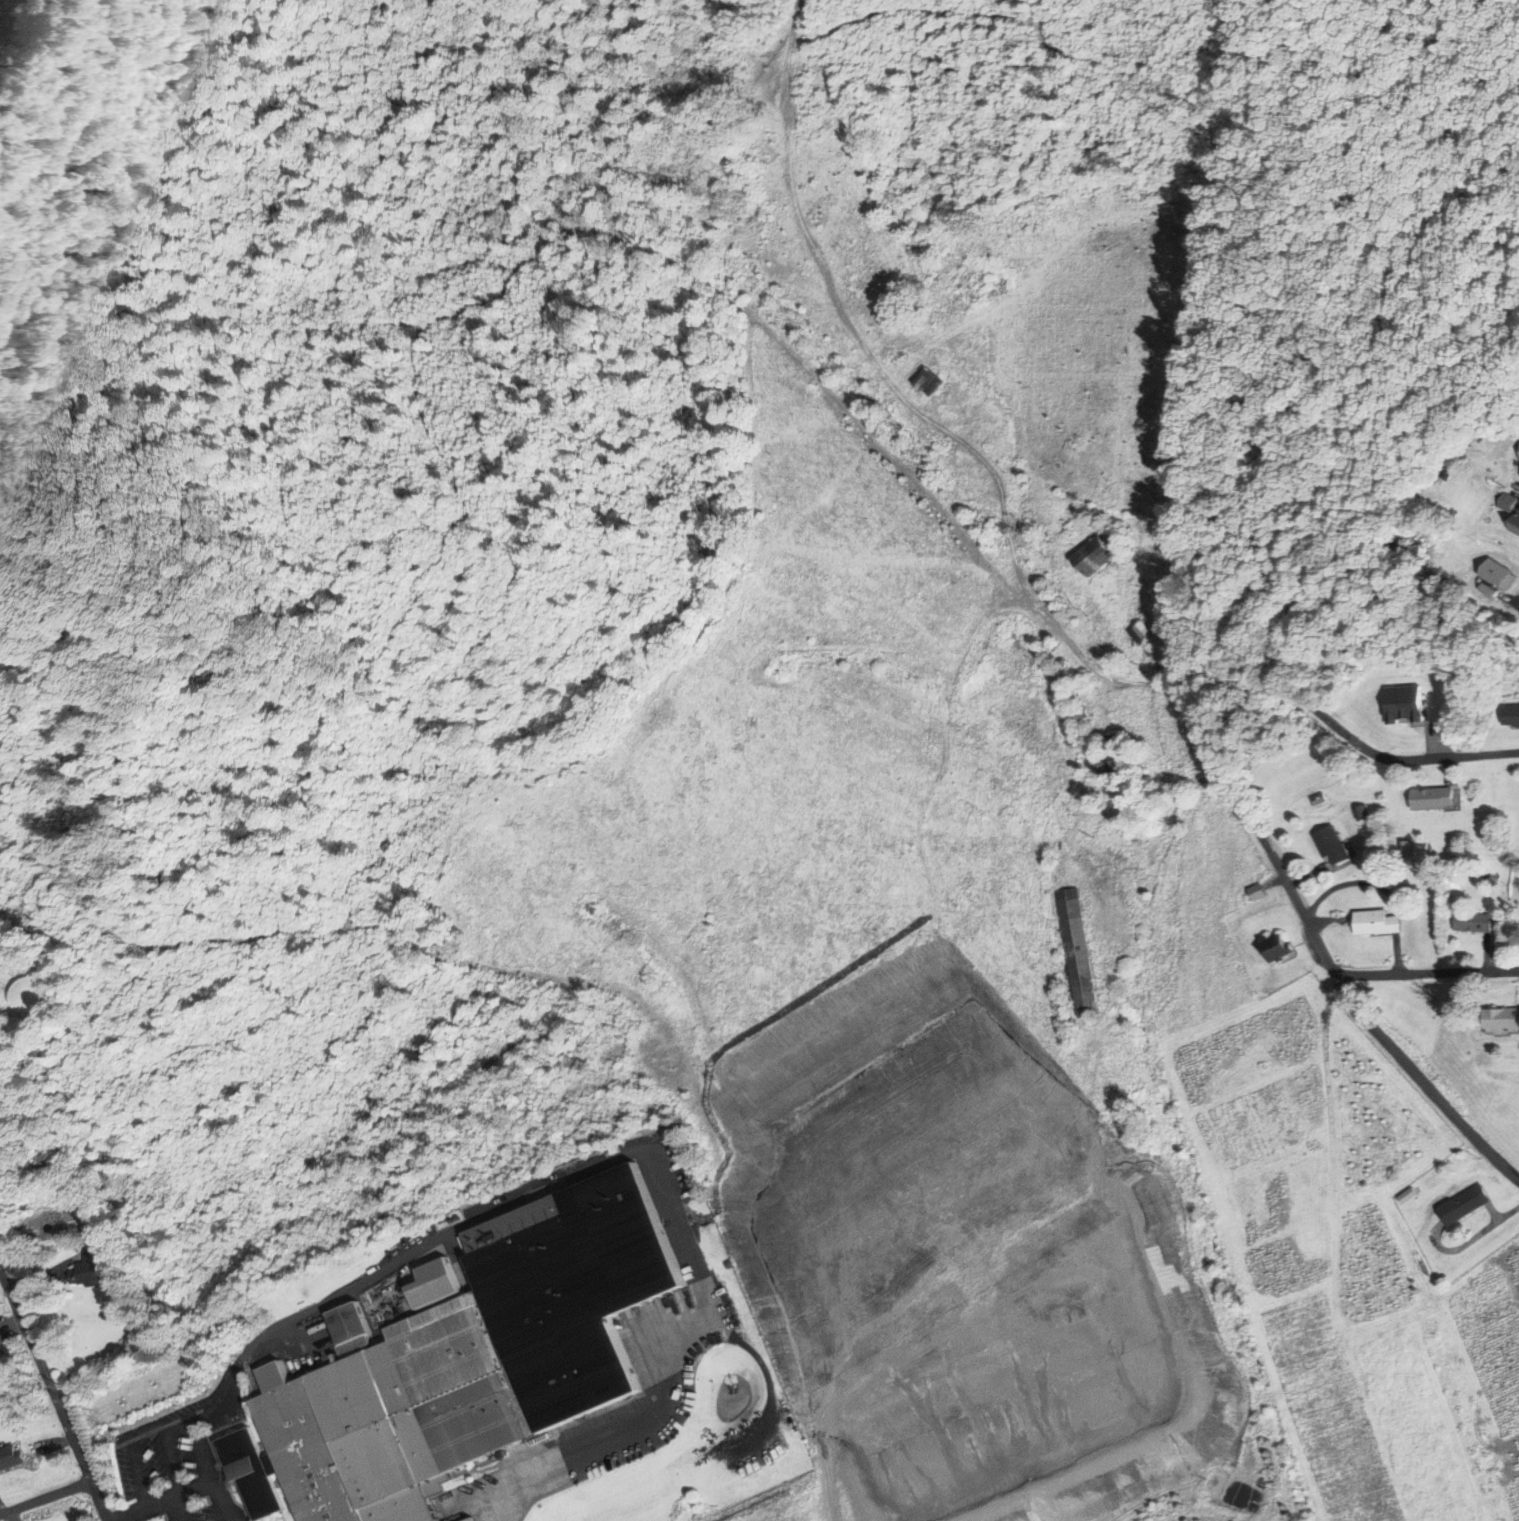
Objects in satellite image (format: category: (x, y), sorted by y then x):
building: (926, 381)
building: (1509, 515)
building: (1090, 556)
building: (1486, 572)
road: (1512, 596)
building: (1139, 633)
building: (1402, 704)
building: (1510, 714)
building: (1109, 756)
building: (1431, 798)
road: (1252, 816)
building: (1331, 845)
building: (1375, 922)
building: (1472, 922)
building: (1274, 948)
building: (1075, 953)
road: (1428, 972)
building: (24, 995)
building: (1500, 1019)
building: (1463, 1205)
building: (89, 1270)
building: (462, 1363)
road: (53, 1394)
road: (179, 1420)
road: (136, 1453)
building: (10, 1455)
road: (45, 1496)
road: (165, 1500)
road: (220, 1500)
road: (181, 1507)
road: (184, 1519)

